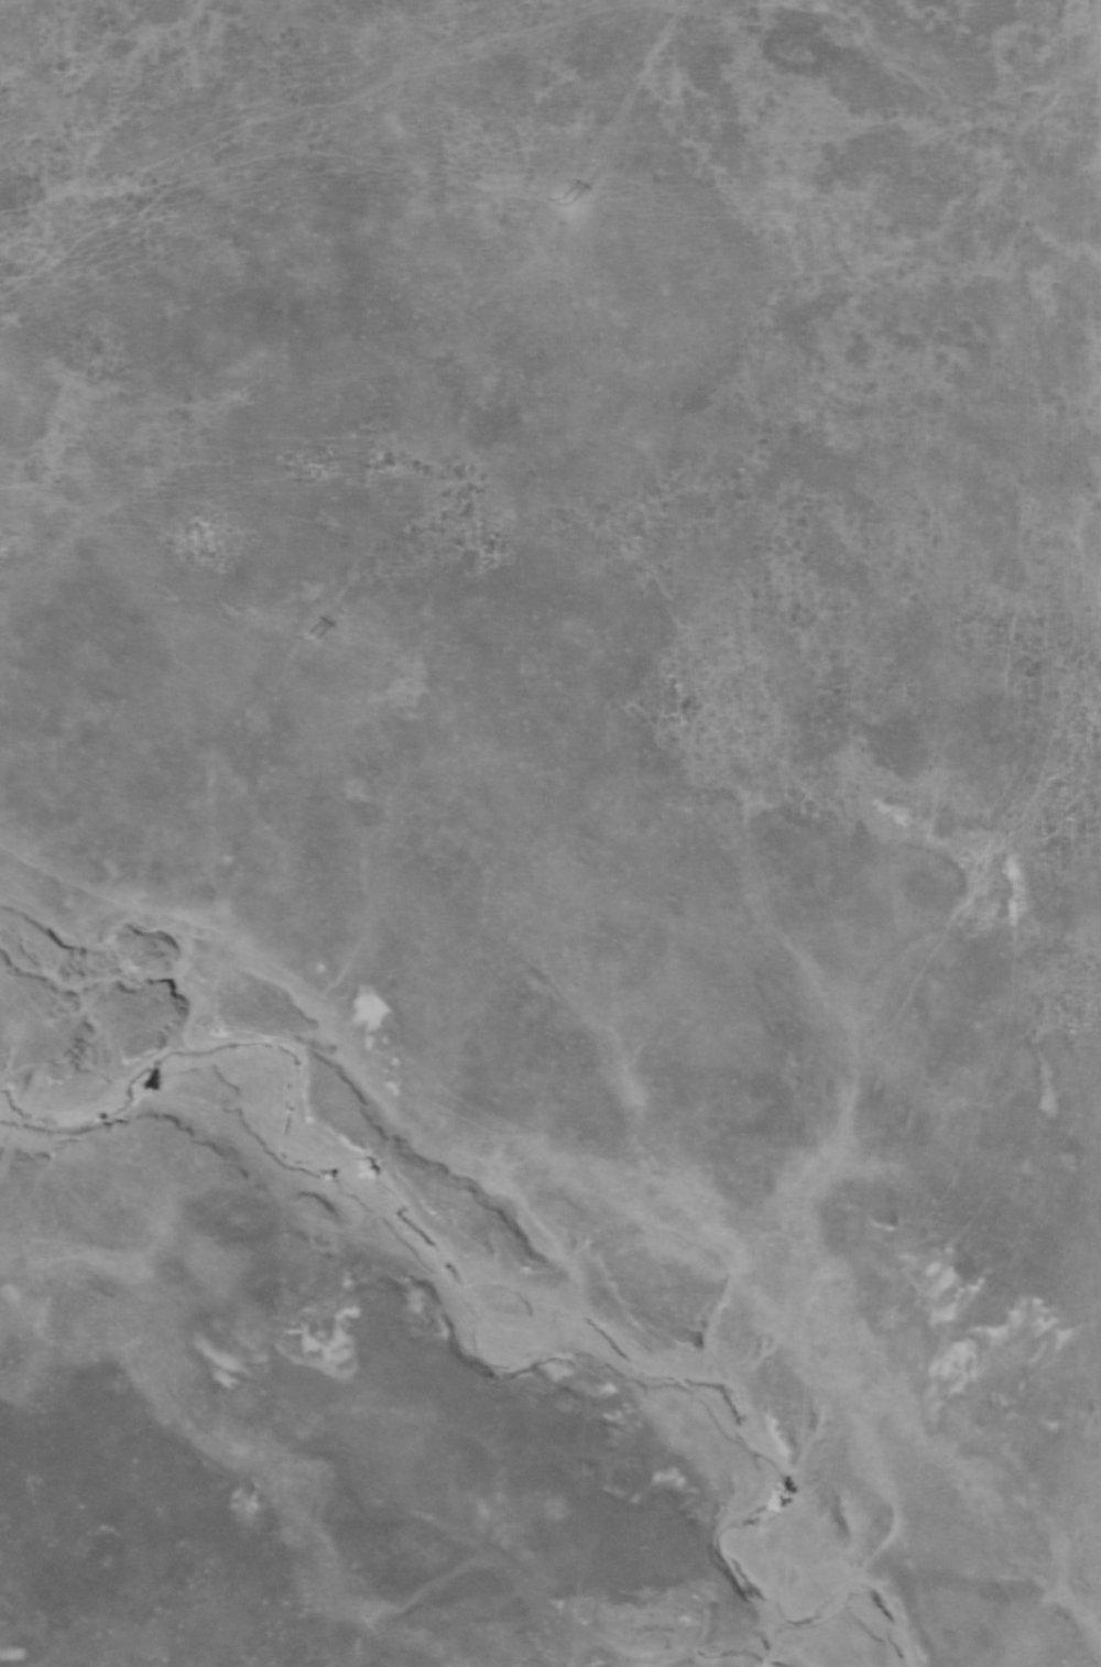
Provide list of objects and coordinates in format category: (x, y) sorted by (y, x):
power tower: (565, 200)
power tower: (310, 638)
power tower: (59, 1059)

